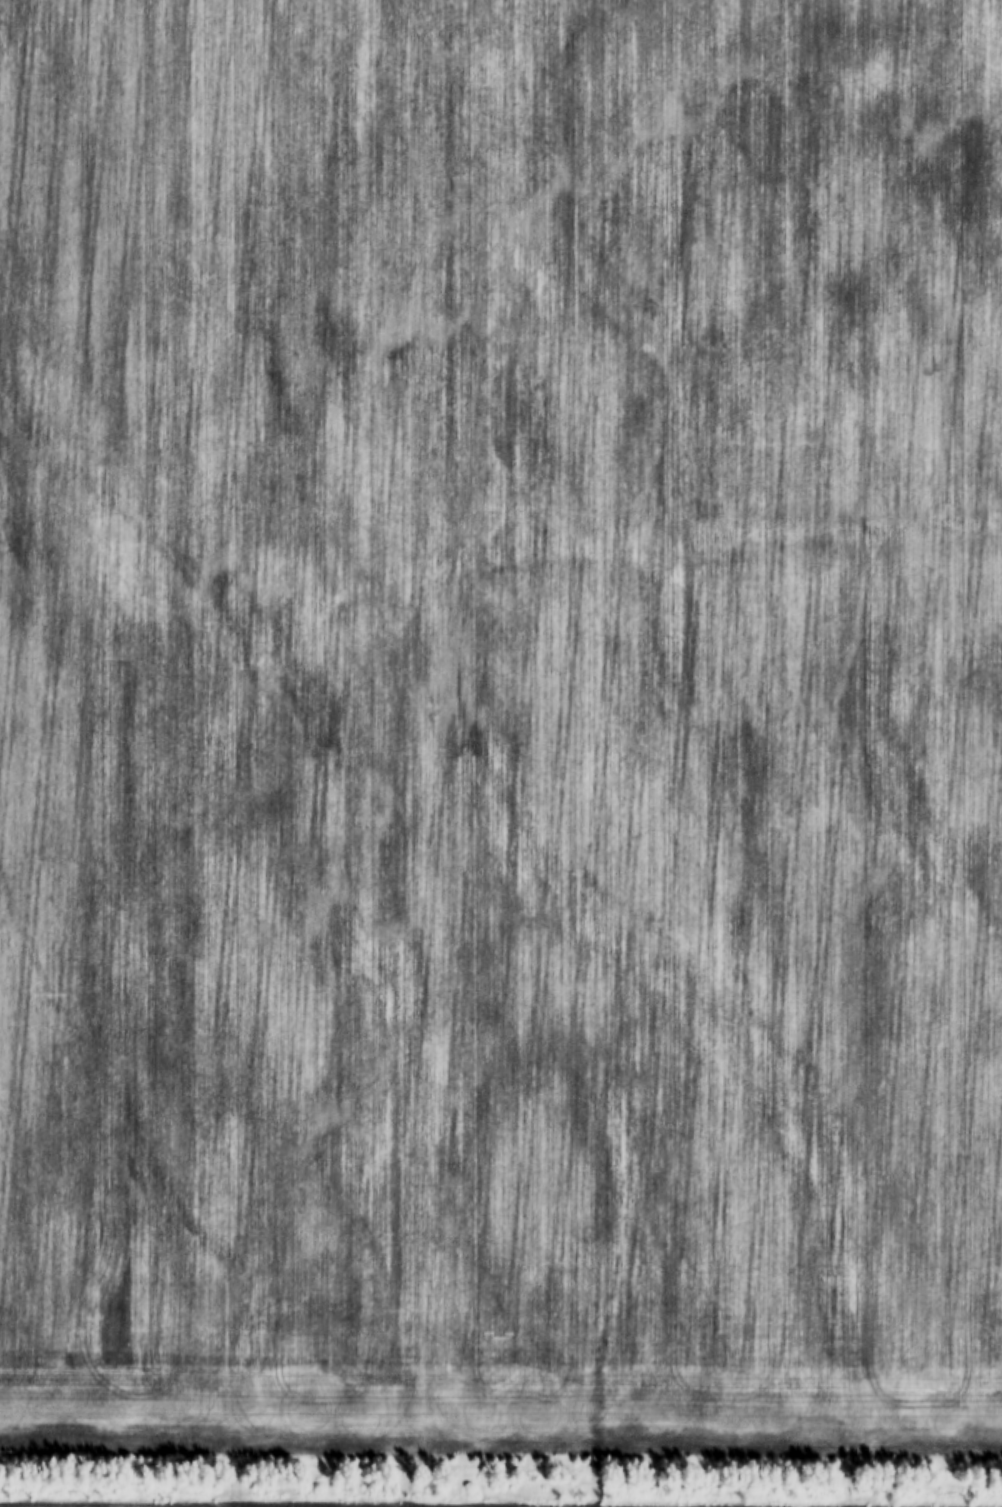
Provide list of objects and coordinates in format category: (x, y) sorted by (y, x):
crop: (982, 51)
crop: (499, 730)
crop: (417, 1504)

